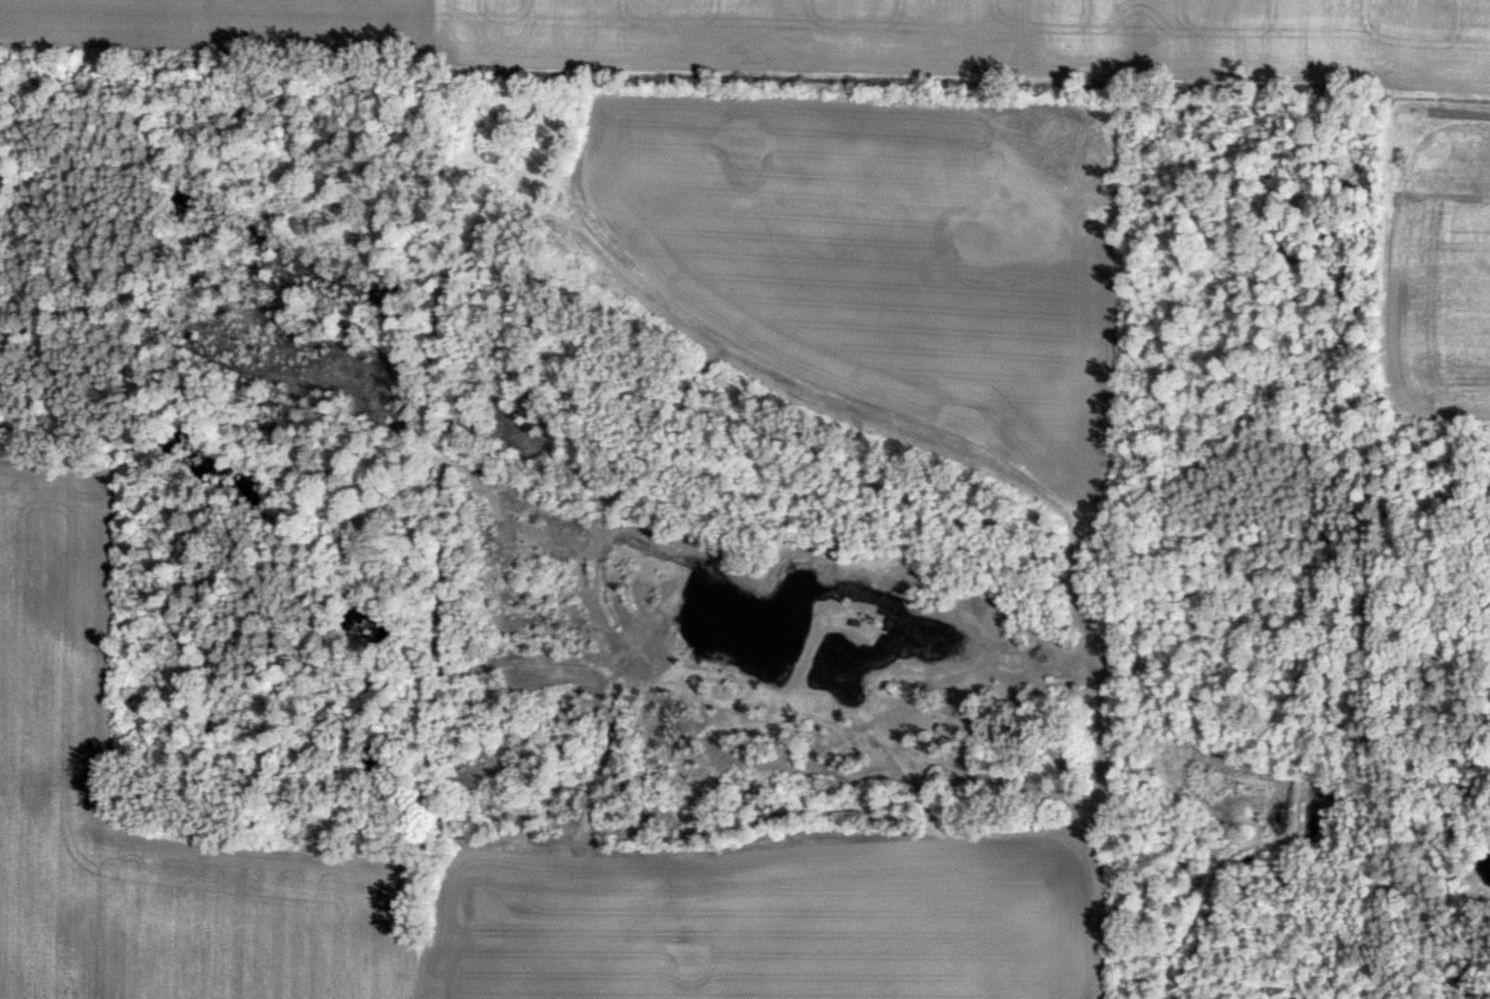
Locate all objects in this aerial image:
road: (394, 539)
road: (1053, 920)

